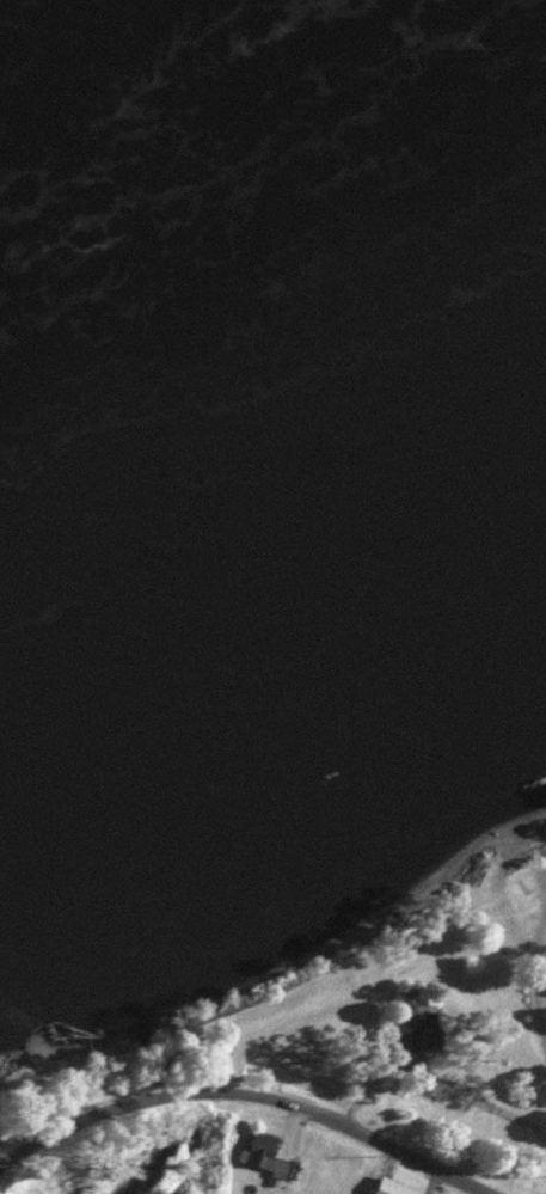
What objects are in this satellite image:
river: (221, 111)
road: (391, 1005)
building: (418, 1030)
road: (452, 1053)
road: (84, 1104)
road: (335, 1121)
building: (263, 1151)
building: (397, 1187)

